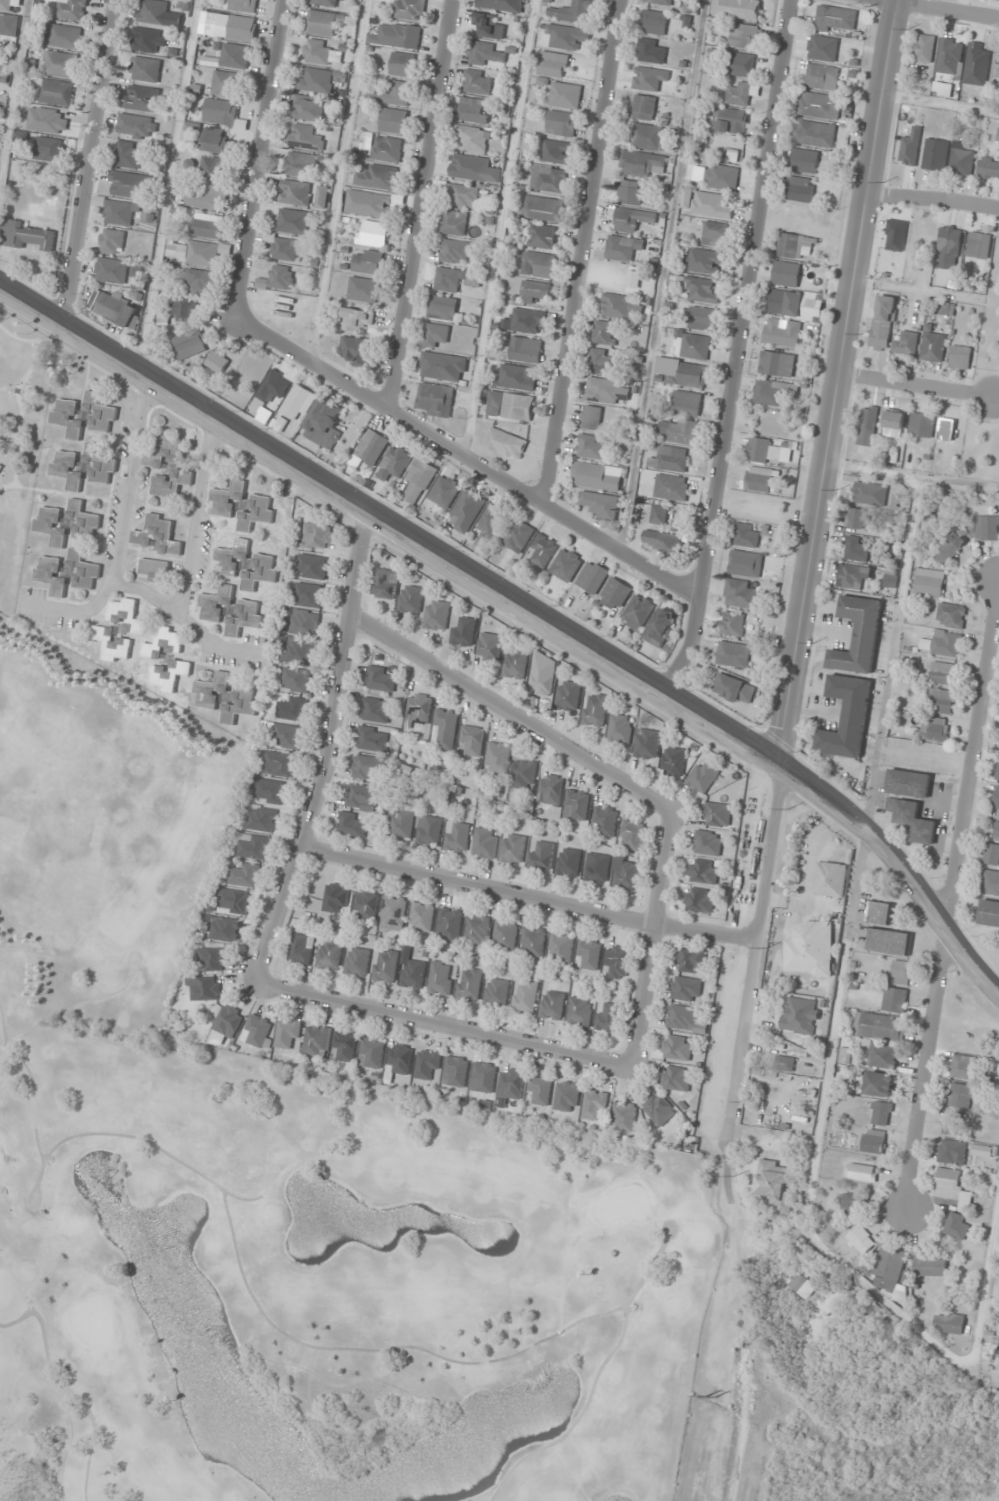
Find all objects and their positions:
building: (324, 2)
building: (660, 2)
building: (6, 5)
building: (242, 5)
building: (501, 5)
building: (737, 8)
building: (73, 9)
building: (409, 9)
road: (934, 10)
building: (154, 11)
building: (572, 12)
building: (835, 18)
building: (326, 22)
building: (654, 22)
building: (10, 25)
building: (233, 26)
building: (489, 26)
building: (66, 36)
building: (397, 36)
building: (565, 36)
building: (743, 36)
building: (150, 40)
building: (0, 46)
building: (822, 48)
building: (924, 48)
building: (650, 51)
building: (320, 53)
building: (485, 54)
building: (235, 56)
building: (949, 56)
building: (62, 64)
building: (403, 64)
building: (552, 64)
building: (977, 64)
building: (741, 65)
building: (997, 67)
building: (147, 69)
building: (821, 76)
building: (649, 78)
building: (316, 80)
building: (477, 82)
building: (225, 83)
building: (57, 92)
building: (392, 93)
building: (739, 93)
building: (565, 95)
building: (143, 98)
building: (819, 105)
building: (642, 107)
building: (310, 109)
building: (474, 110)
building: (223, 113)
building: (48, 119)
building: (730, 120)
building: (393, 121)
building: (560, 123)
building: (136, 125)
building: (815, 134)
building: (647, 136)
building: (997, 136)
building: (305, 137)
building: (473, 138)
building: (218, 141)
building: (51, 149)
building: (387, 149)
building: (556, 151)
building: (935, 154)
building: (131, 155)
building: (961, 159)
road: (260, 160)
building: (803, 160)
road: (93, 163)
building: (301, 164)
building: (643, 164)
building: (988, 167)
building: (474, 168)
building: (214, 169)
building: (378, 177)
building: (721, 177)
building: (549, 178)
building: (131, 184)
building: (800, 190)
building: (630, 192)
building: (296, 193)
building: (463, 196)
building: (210, 198)
road: (934, 201)
building: (706, 203)
building: (368, 204)
road: (420, 204)
building: (542, 208)
building: (122, 212)
building: (632, 219)
building: (293, 221)
building: (454, 222)
building: (209, 226)
building: (373, 233)
building: (715, 234)
building: (29, 235)
building: (895, 235)
building: (542, 236)
building: (114, 241)
building: (793, 244)
building: (978, 245)
building: (947, 247)
building: (623, 248)
building: (285, 249)
building: (454, 251)
building: (197, 252)
road: (579, 254)
building: (368, 261)
building: (705, 261)
building: (539, 264)
building: (113, 271)
building: (786, 273)
building: (279, 279)
building: (456, 279)
building: (202, 280)
building: (699, 288)
building: (363, 289)
building: (534, 291)
building: (785, 302)
building: (619, 305)
building: (443, 307)
building: (117, 308)
building: (185, 309)
building: (702, 318)
building: (356, 319)
building: (527, 320)
building: (882, 322)
building: (604, 332)
building: (782, 333)
building: (437, 335)
building: (906, 342)
building: (190, 344)
building: (693, 346)
building: (933, 346)
building: (525, 349)
building: (356, 350)
road: (736, 350)
building: (960, 357)
building: (219, 362)
building: (601, 362)
building: (776, 363)
building: (436, 365)
building: (682, 372)
building: (518, 377)
road: (918, 388)
building: (272, 389)
building: (607, 391)
building: (771, 391)
building: (436, 399)
building: (299, 402)
building: (687, 403)
building: (510, 405)
building: (101, 412)
building: (590, 417)
building: (69, 418)
building: (893, 422)
building: (324, 424)
building: (921, 424)
building: (867, 425)
building: (946, 428)
building: (679, 430)
park: (20, 434)
building: (505, 442)
building: (372, 446)
building: (590, 447)
building: (768, 451)
road: (467, 459)
building: (670, 459)
building: (101, 464)
building: (66, 465)
building: (394, 465)
building: (169, 469)
building: (596, 476)
building: (759, 479)
building: (419, 481)
building: (671, 487)
building: (445, 491)
building: (870, 494)
building: (228, 498)
building: (601, 504)
building: (467, 510)
building: (258, 512)
building: (659, 515)
building: (857, 518)
building: (85, 520)
building: (493, 520)
building: (52, 525)
building: (986, 527)
building: (746, 534)
building: (158, 535)
building: (518, 535)
building: (317, 536)
building: (663, 540)
building: (856, 548)
building: (950, 548)
building: (543, 550)
building: (232, 557)
building: (745, 563)
building: (567, 564)
building: (313, 566)
road: (812, 569)
building: (85, 570)
building: (155, 570)
building: (262, 570)
building: (53, 575)
building: (849, 575)
building: (593, 577)
building: (929, 582)
building: (384, 583)
building: (739, 593)
building: (309, 594)
building: (616, 594)
building: (411, 599)
building: (217, 602)
road: (524, 610)
building: (637, 612)
building: (437, 614)
building: (951, 615)
building: (246, 617)
building: (305, 623)
building: (734, 624)
building: (660, 627)
building: (121, 629)
building: (464, 632)
building: (859, 635)
building: (942, 643)
building: (489, 647)
building: (300, 650)
building: (733, 654)
building: (166, 658)
building: (516, 664)
building: (943, 673)
building: (381, 678)
building: (297, 680)
building: (734, 688)
building: (212, 691)
building: (569, 696)
building: (940, 700)
building: (241, 704)
building: (419, 707)
building: (292, 709)
building: (376, 709)
building: (596, 709)
road: (509, 712)
building: (847, 717)
building: (447, 728)
building: (621, 728)
building: (934, 728)
building: (288, 736)
building: (373, 739)
building: (473, 740)
building: (647, 743)
road: (326, 752)
building: (498, 757)
building: (673, 761)
building: (279, 764)
building: (369, 767)
building: (998, 771)
building: (525, 774)
building: (703, 777)
building: (908, 783)
building: (551, 789)
building: (269, 791)
building: (363, 797)
building: (996, 798)
building: (577, 804)
building: (717, 814)
building: (262, 819)
building: (913, 819)
building: (606, 820)
building: (402, 822)
building: (352, 824)
building: (996, 829)
building: (430, 830)
building: (633, 835)
building: (457, 836)
building: (708, 842)
building: (485, 843)
building: (255, 847)
building: (513, 848)
building: (991, 854)
building: (541, 855)
building: (569, 862)
building: (597, 868)
building: (703, 871)
building: (245, 875)
building: (626, 875)
building: (830, 879)
building: (990, 883)
road: (525, 894)
road: (958, 897)
building: (336, 898)
building: (700, 899)
building: (233, 900)
building: (366, 904)
building: (394, 912)
building: (880, 912)
building: (989, 913)
building: (422, 916)
building: (450, 924)
building: (225, 928)
building: (478, 929)
building: (505, 935)
road: (651, 937)
building: (889, 940)
building: (533, 941)
building: (561, 947)
building: (302, 948)
building: (811, 948)
building: (588, 954)
building: (330, 955)
building: (214, 959)
building: (690, 960)
building: (358, 961)
building: (617, 961)
building: (385, 966)
building: (901, 971)
building: (413, 974)
building: (442, 978)
building: (469, 984)
building: (204, 988)
building: (686, 988)
building: (497, 992)
building: (525, 997)
building: (895, 999)
building: (552, 1005)
building: (580, 1011)
building: (800, 1016)
building: (609, 1018)
building: (684, 1019)
road: (444, 1023)
building: (227, 1024)
building: (877, 1026)
building: (259, 1031)
building: (289, 1033)
building: (318, 1040)
building: (345, 1046)
building: (677, 1047)
building: (373, 1053)
building: (844, 1054)
building: (882, 1056)
building: (784, 1062)
building: (428, 1064)
building: (963, 1066)
building: (456, 1071)
building: (484, 1077)
building: (676, 1078)
building: (512, 1083)
building: (879, 1084)
building: (567, 1096)
building: (961, 1096)
building: (595, 1104)
building: (659, 1109)
building: (881, 1113)
building: (624, 1117)
building: (953, 1123)
building: (873, 1141)
building: (985, 1150)
building: (952, 1151)
building: (860, 1172)
building: (774, 1183)
building: (950, 1187)
park: (283, 1195)
building: (850, 1203)
building: (957, 1225)
building: (861, 1239)
building: (929, 1266)
building: (889, 1269)
building: (798, 1283)
building: (949, 1323)
power tower: (708, 1397)

